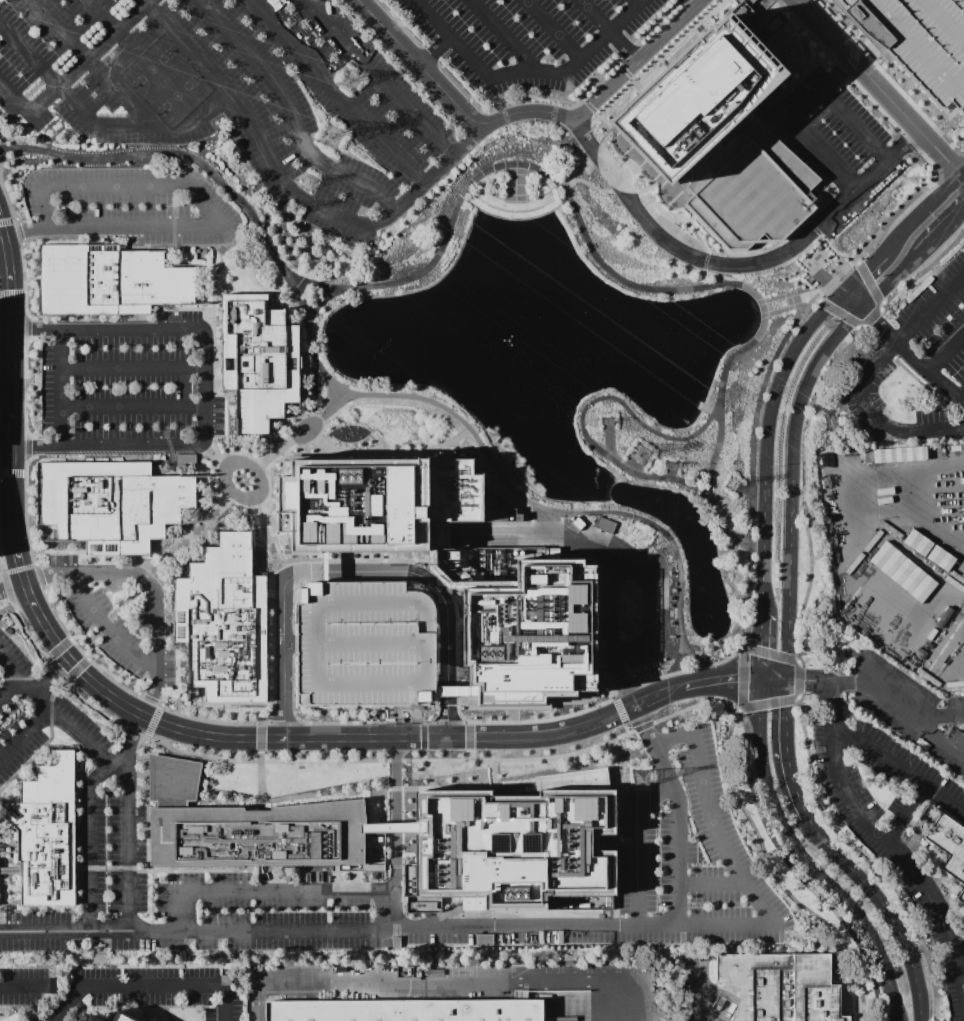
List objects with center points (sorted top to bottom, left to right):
road: (695, 3)
road: (398, 24)
road: (111, 26)
road: (804, 31)
road: (678, 33)
road: (566, 38)
building: (918, 40)
parking garage: (918, 40)
road: (520, 49)
road: (841, 50)
road: (92, 57)
road: (429, 57)
road: (633, 57)
road: (642, 59)
road: (63, 62)
road: (425, 62)
road: (401, 68)
road: (842, 70)
road: (379, 77)
road: (887, 78)
power tower: (349, 80)
road: (879, 88)
road: (339, 90)
road: (15, 95)
parking lot: (238, 98)
road: (567, 101)
road: (455, 103)
road: (873, 104)
road: (203, 109)
road: (291, 114)
road: (142, 122)
road: (855, 125)
building: (717, 129)
road: (259, 132)
power tower: (332, 136)
road: (906, 139)
road: (175, 154)
road: (823, 155)
road: (925, 159)
road: (435, 170)
road: (963, 175)
road: (963, 176)
power tower: (306, 182)
road: (567, 193)
road: (7, 202)
road: (199, 204)
parking lot: (127, 206)
power tower: (293, 209)
road: (924, 212)
road: (947, 228)
road: (17, 232)
road: (26, 232)
road: (878, 232)
road: (156, 246)
road: (697, 254)
road: (4, 257)
road: (23, 268)
road: (925, 268)
road: (866, 270)
power tower: (261, 271)
road: (897, 277)
building: (111, 281)
road: (869, 281)
road: (13, 300)
road: (855, 300)
road: (318, 301)
road: (835, 310)
road: (930, 310)
road: (213, 315)
road: (871, 316)
road: (27, 327)
road: (880, 327)
road: (36, 328)
road: (875, 339)
road: (311, 350)
road: (945, 351)
road: (738, 352)
building: (258, 361)
road: (874, 366)
road: (130, 368)
road: (932, 374)
park: (743, 375)
parking lot: (127, 386)
road: (337, 386)
road: (24, 387)
road: (963, 398)
road: (13, 402)
road: (130, 406)
power tower: (830, 423)
road: (901, 431)
road: (293, 438)
road: (682, 438)
road: (768, 440)
road: (198, 446)
road: (35, 447)
road: (26, 448)
power tower: (639, 453)
building: (898, 454)
road: (211, 455)
road: (751, 461)
road: (190, 465)
power tower: (670, 466)
road: (14, 470)
road: (678, 481)
power tower: (732, 483)
road: (792, 485)
road: (803, 486)
road: (227, 488)
building: (378, 503)
building: (110, 504)
road: (24, 507)
road: (558, 510)
road: (263, 529)
power tower: (639, 539)
building: (917, 543)
road: (261, 550)
building: (939, 559)
road: (32, 560)
road: (342, 560)
road: (132, 562)
road: (159, 566)
road: (356, 572)
building: (902, 572)
road: (38, 578)
road: (13, 586)
road: (151, 586)
road: (7, 591)
parking lot: (619, 594)
road: (343, 602)
road: (646, 605)
building: (222, 622)
road: (45, 624)
building: (523, 625)
road: (105, 628)
road: (29, 638)
road: (87, 640)
road: (609, 640)
building: (362, 644)
parking garage: (362, 644)
road: (758, 647)
road: (58, 648)
road: (80, 650)
road: (76, 668)
road: (58, 672)
road: (679, 672)
road: (54, 677)
road: (175, 677)
road: (719, 682)
road: (769, 682)
road: (436, 683)
road: (803, 683)
road: (847, 683)
road: (9, 686)
road: (103, 690)
road: (624, 690)
road: (189, 692)
road: (658, 696)
road: (149, 701)
road: (272, 701)
road: (86, 703)
road: (787, 707)
road: (828, 708)
road: (51, 710)
parking lot: (36, 713)
road: (940, 715)
road: (152, 717)
road: (917, 717)
road: (282, 719)
road: (547, 719)
road: (364, 723)
road: (136, 730)
road: (25, 735)
road: (210, 736)
road: (461, 737)
road: (422, 739)
road: (467, 739)
road: (258, 740)
road: (654, 744)
road: (614, 748)
road: (783, 751)
road: (519, 759)
road: (258, 761)
road: (394, 761)
road: (900, 768)
road: (652, 777)
power tower: (640, 778)
road: (905, 813)
road: (128, 820)
road: (713, 821)
building: (251, 828)
road: (767, 830)
building: (45, 833)
road: (89, 835)
road: (393, 836)
building: (515, 846)
building: (948, 847)
road: (636, 848)
road: (896, 848)
road: (676, 853)
parking lot: (112, 854)
parking lot: (691, 856)
road: (803, 861)
road: (867, 861)
building: (408, 880)
road: (707, 882)
road: (256, 890)
road: (883, 906)
parking lot: (352, 919)
road: (385, 927)
parking lot: (35, 931)
parking lot: (25, 985)
road: (452, 985)
road: (21, 986)
building: (777, 986)
road: (145, 988)
parking lot: (148, 991)
road: (699, 1002)
building: (407, 1009)
building: (122, 1017)
parking lot: (30, 1018)
building: (92, 1018)

